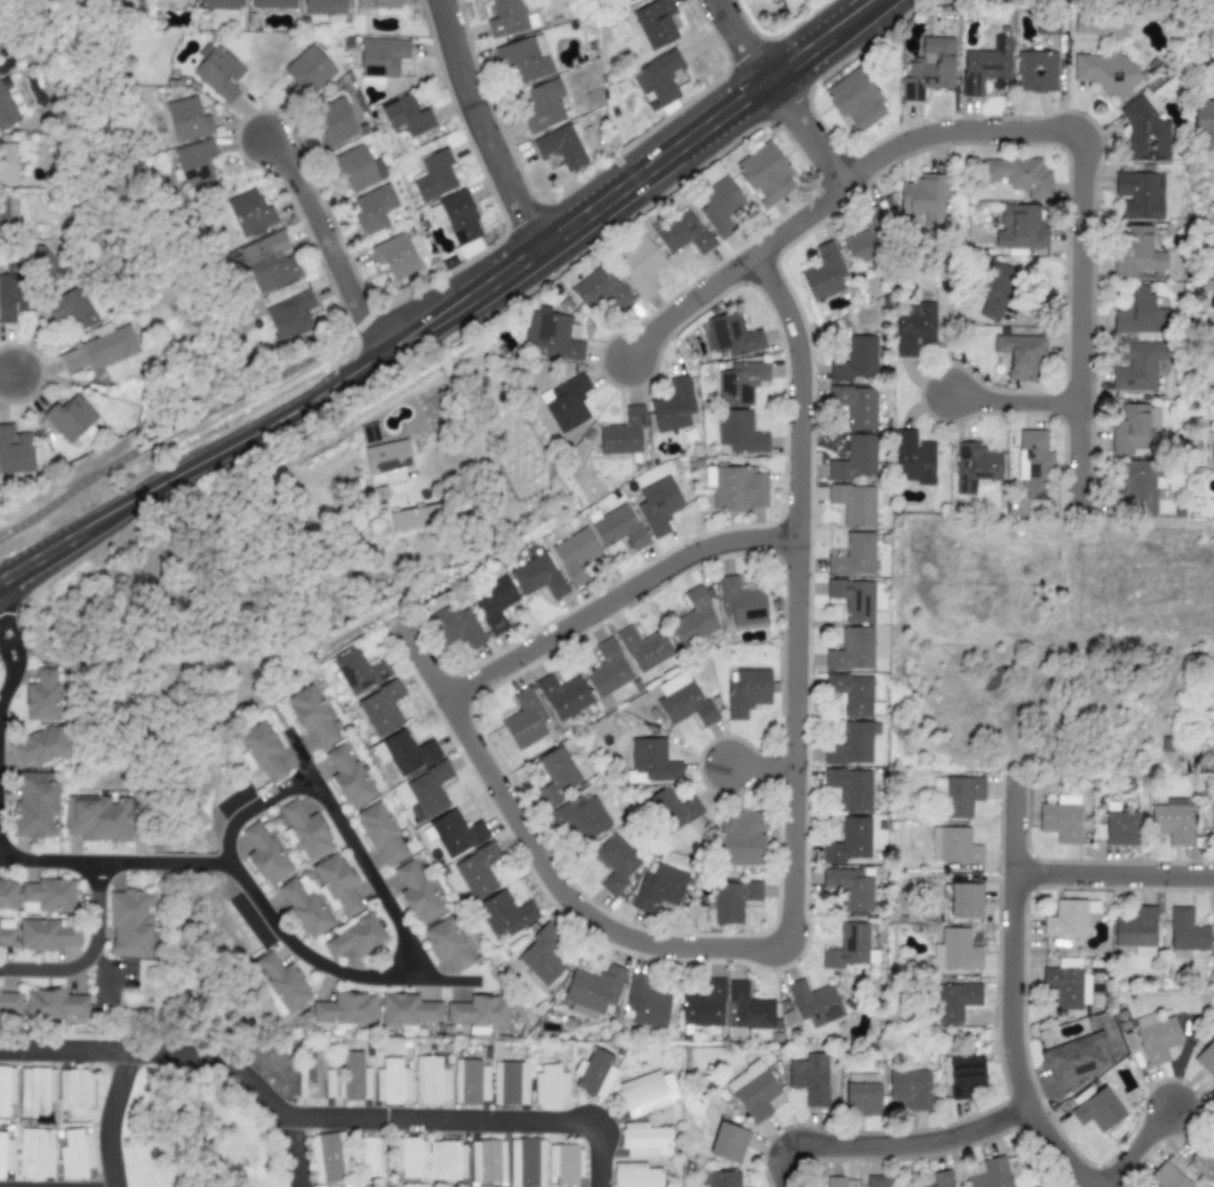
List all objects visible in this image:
building: (773, 0)
building: (173, 1)
building: (618, 1)
building: (272, 4)
building: (218, 5)
building: (374, 5)
building: (323, 7)
building: (506, 18)
building: (655, 24)
building: (1100, 25)
building: (1210, 34)
building: (381, 57)
building: (524, 59)
building: (986, 67)
building: (928, 69)
building: (308, 71)
building: (1102, 71)
building: (216, 72)
building: (1035, 72)
building: (657, 78)
road: (779, 90)
building: (855, 101)
building: (542, 106)
building: (6, 111)
building: (405, 117)
building: (186, 119)
building: (333, 123)
building: (1203, 124)
road: (483, 126)
building: (1144, 133)
building: (559, 148)
building: (7, 164)
building: (194, 164)
building: (356, 168)
building: (764, 174)
building: (434, 176)
building: (1018, 176)
road: (1082, 190)
building: (1136, 196)
building: (926, 200)
building: (719, 207)
building: (373, 210)
building: (250, 213)
building: (2, 216)
building: (459, 218)
building: (1019, 229)
building: (683, 233)
building: (865, 241)
road: (328, 244)
building: (1138, 254)
building: (394, 256)
building: (268, 262)
building: (638, 266)
road: (734, 269)
building: (825, 273)
building: (599, 290)
building: (994, 290)
building: (11, 292)
building: (72, 309)
road: (451, 309)
building: (1138, 313)
building: (292, 317)
building: (914, 328)
building: (728, 336)
building: (551, 337)
building: (100, 349)
building: (1020, 356)
building: (856, 361)
road: (292, 367)
building: (1136, 367)
road: (5, 370)
building: (740, 382)
road: (1013, 399)
building: (565, 403)
building: (673, 405)
building: (856, 405)
road: (470, 411)
building: (69, 419)
building: (739, 432)
building: (1133, 432)
road: (168, 433)
building: (623, 433)
park: (168, 438)
building: (14, 451)
building: (855, 458)
building: (914, 458)
building: (386, 462)
building: (1033, 464)
building: (975, 468)
building: (1138, 487)
building: (736, 488)
road: (67, 492)
building: (853, 504)
building: (657, 505)
building: (407, 518)
building: (618, 528)
building: (575, 554)
building: (852, 556)
building: (537, 577)
road: (614, 597)
building: (853, 598)
building: (493, 604)
building: (742, 605)
building: (694, 619)
building: (453, 627)
road: (6, 643)
building: (644, 648)
building: (851, 651)
building: (607, 670)
building: (358, 671)
road: (10, 679)
building: (1212, 686)
building: (746, 692)
building: (851, 694)
building: (41, 696)
building: (563, 696)
building: (682, 700)
building: (381, 708)
building: (311, 716)
building: (524, 720)
building: (850, 746)
building: (38, 747)
building: (262, 750)
building: (405, 753)
building: (651, 761)
road: (761, 765)
building: (558, 774)
building: (349, 777)
building: (850, 789)
building: (427, 791)
building: (956, 796)
building: (35, 805)
road: (251, 808)
building: (671, 809)
building: (581, 817)
building: (1212, 818)
building: (97, 819)
building: (1060, 819)
building: (1172, 820)
building: (1120, 829)
building: (304, 831)
building: (380, 831)
building: (456, 833)
building: (740, 839)
building: (850, 843)
building: (953, 845)
road: (356, 851)
building: (264, 854)
building: (617, 862)
building: (476, 871)
road: (791, 874)
road: (1115, 879)
building: (335, 885)
building: (659, 888)
road: (249, 889)
building: (847, 890)
building: (416, 892)
building: (7, 895)
building: (47, 896)
building: (732, 901)
building: (965, 901)
building: (305, 908)
building: (504, 914)
building: (1065, 919)
building: (131, 924)
building: (1136, 931)
building: (1185, 931)
building: (6, 933)
building: (47, 934)
building: (355, 938)
building: (450, 944)
building: (849, 948)
building: (956, 950)
road: (89, 955)
building: (542, 958)
road: (113, 971)
road: (106, 973)
building: (1066, 987)
building: (591, 991)
road: (1014, 997)
building: (954, 1001)
building: (644, 1003)
building: (10, 1004)
building: (703, 1004)
building: (809, 1004)
building: (55, 1005)
building: (746, 1009)
building: (344, 1011)
building: (406, 1011)
building: (480, 1013)
building: (1155, 1038)
building: (1206, 1058)
building: (594, 1074)
building: (964, 1075)
building: (314, 1076)
building: (810, 1078)
building: (429, 1081)
building: (392, 1082)
building: (470, 1082)
building: (508, 1082)
building: (551, 1086)
building: (6, 1090)
building: (75, 1090)
building: (907, 1090)
building: (752, 1091)
building: (35, 1092)
building: (645, 1093)
building: (862, 1094)
building: (1096, 1110)
road: (109, 1117)
road: (321, 1117)
road: (887, 1134)
building: (644, 1141)
building: (727, 1143)
road: (1138, 1150)
road: (293, 1152)
building: (36, 1153)
building: (5, 1155)
building: (75, 1155)
building: (407, 1156)
building: (368, 1157)
building: (327, 1158)
building: (1206, 1158)
building: (447, 1161)
building: (486, 1162)
building: (525, 1163)
building: (564, 1165)
building: (987, 1173)
building: (636, 1175)
building: (1168, 1177)
building: (720, 1179)
building: (941, 1179)
building: (876, 1181)
building: (834, 1182)

